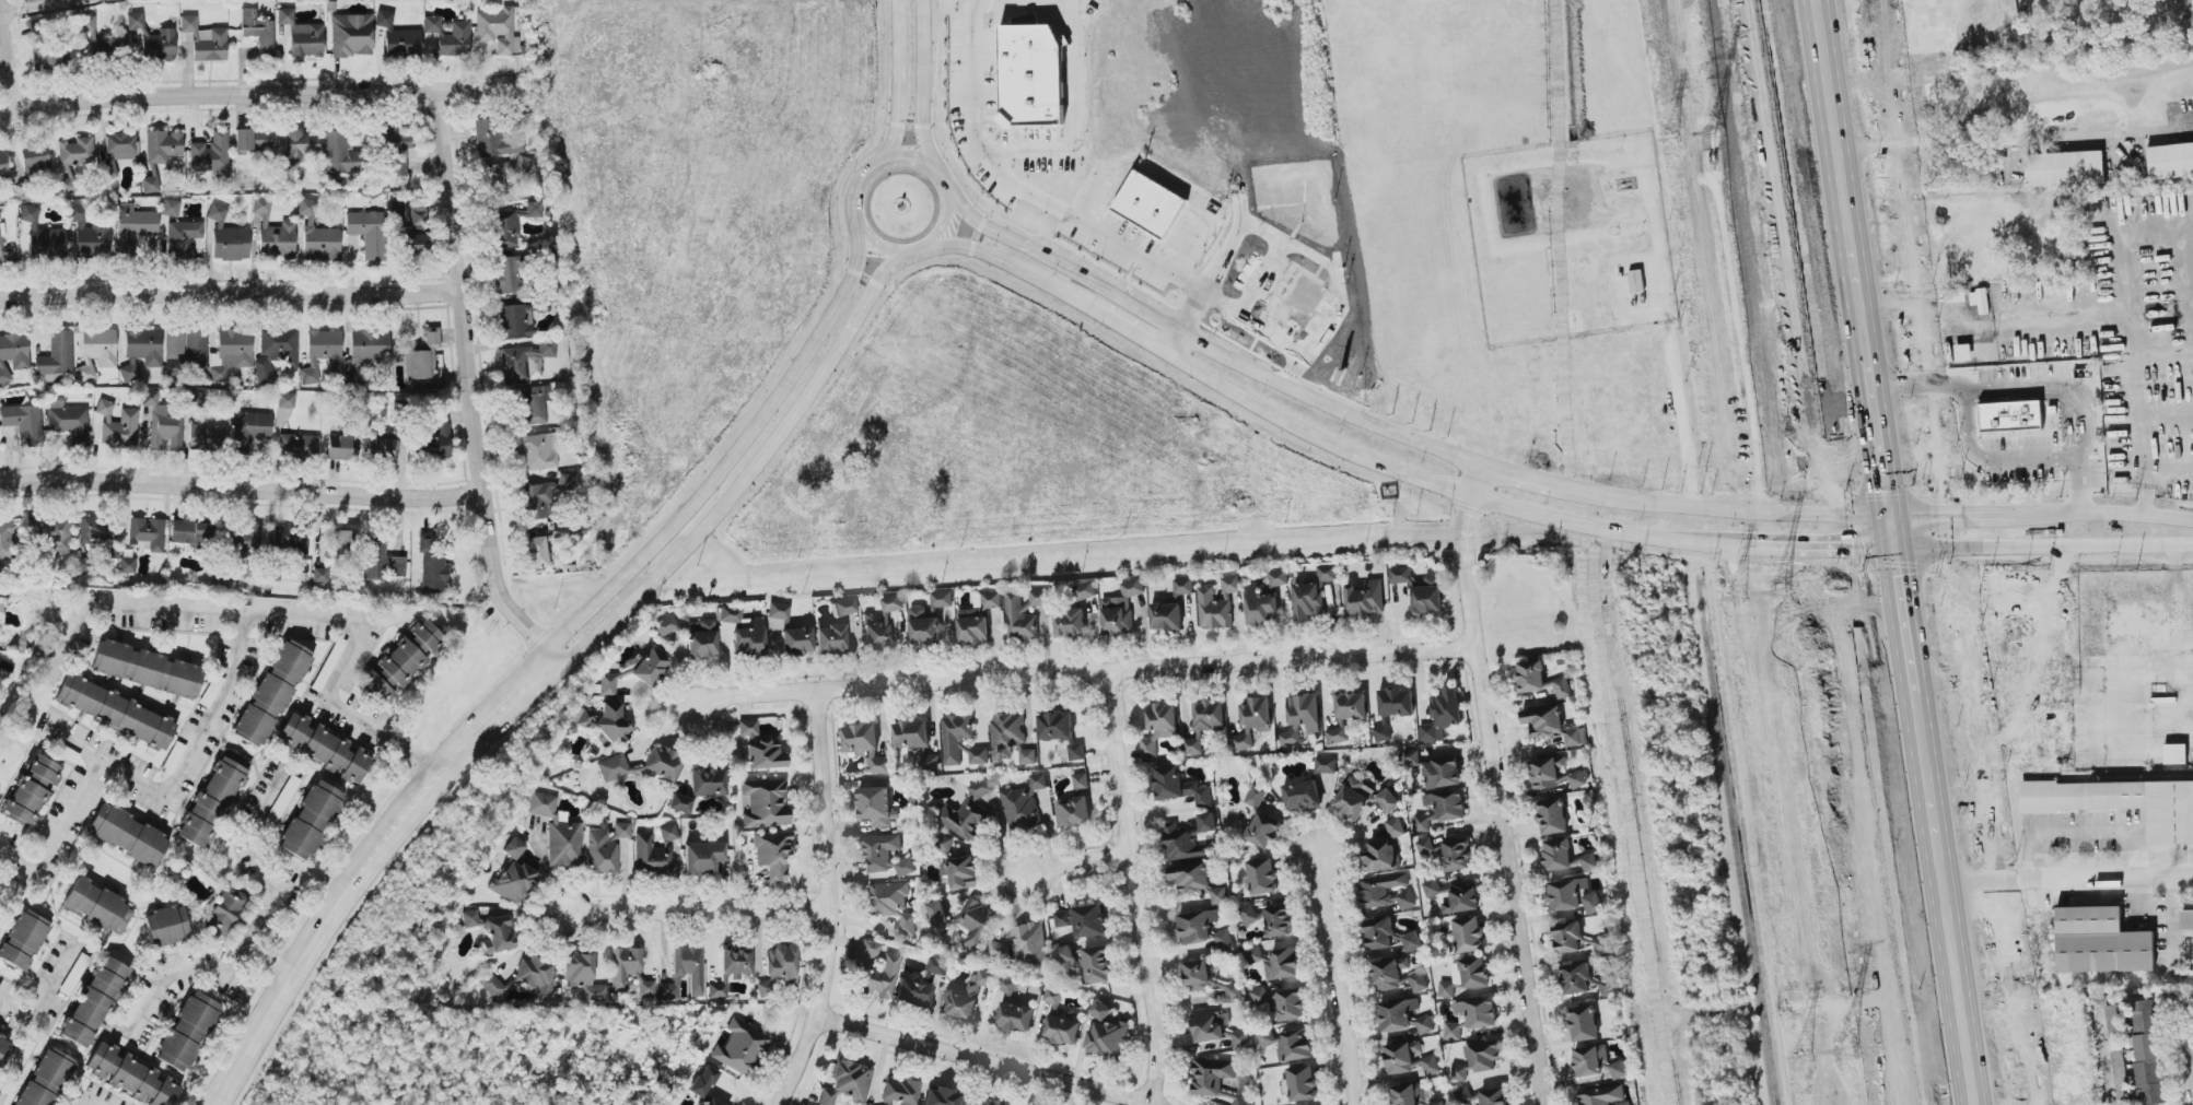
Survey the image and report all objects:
road: (42, 5)
building: (494, 28)
building: (256, 30)
building: (350, 34)
building: (301, 35)
building: (397, 36)
building: (447, 36)
building: (96, 38)
building: (151, 39)
building: (203, 40)
road: (1074, 51)
building: (48, 57)
road: (7, 71)
building: (1026, 73)
road: (922, 85)
road: (896, 87)
road: (255, 89)
power tower: (1713, 134)
building: (252, 139)
building: (489, 139)
road: (2015, 139)
power tower: (1668, 141)
building: (298, 144)
building: (161, 146)
building: (341, 148)
road: (1047, 150)
building: (75, 151)
building: (116, 151)
building: (209, 152)
building: (395, 153)
building: (34, 160)
building: (2170, 161)
building: (2, 164)
building: (2065, 168)
building: (149, 184)
building: (1151, 204)
building: (170, 207)
road: (1054, 208)
building: (512, 221)
building: (132, 227)
building: (368, 232)
building: (272, 233)
building: (42, 235)
building: (317, 235)
building: (226, 236)
building: (89, 237)
building: (183, 238)
road: (1190, 246)
road: (934, 249)
building: (7, 256)
building: (506, 274)
building: (1636, 281)
road: (232, 294)
building: (1980, 301)
road: (1926, 311)
building: (513, 320)
road: (2135, 343)
road: (1203, 345)
building: (369, 346)
road: (1676, 346)
building: (185, 348)
building: (139, 350)
building: (95, 351)
building: (275, 352)
building: (1963, 352)
building: (12, 353)
building: (230, 353)
building: (322, 353)
building: (56, 354)
building: (422, 358)
building: (524, 361)
road: (2041, 385)
road: (478, 387)
building: (284, 400)
building: (532, 404)
building: (2008, 414)
building: (67, 421)
building: (23, 423)
building: (162, 424)
building: (116, 425)
building: (250, 427)
building: (206, 434)
building: (434, 436)
building: (298, 445)
road: (726, 446)
building: (341, 447)
building: (383, 449)
building: (537, 450)
road: (1993, 456)
road: (746, 471)
road: (1419, 477)
road: (1521, 477)
road: (245, 482)
building: (567, 482)
building: (538, 501)
road: (1688, 505)
traffic signals: (1951, 509)
road: (2005, 509)
traffic signals: (1818, 514)
building: (96, 529)
building: (190, 531)
building: (54, 534)
building: (244, 537)
building: (342, 539)
road: (1425, 539)
building: (5, 540)
building: (155, 544)
traffic signals: (1822, 544)
traffic signals: (1956, 544)
road: (2074, 548)
building: (547, 550)
building: (537, 551)
road: (1823, 552)
road: (1957, 552)
building: (378, 561)
building: (431, 566)
building: (1327, 573)
building: (1400, 574)
building: (319, 575)
building: (1279, 577)
building: (1230, 584)
building: (1182, 586)
building: (1084, 590)
power tower: (1777, 593)
building: (1428, 596)
building: (1040, 597)
building: (1364, 597)
power tower: (1736, 598)
building: (940, 601)
building: (1307, 601)
building: (893, 602)
building: (845, 606)
building: (1261, 607)
building: (1121, 609)
building: (1214, 609)
road: (130, 610)
building: (777, 610)
building: (0, 613)
building: (728, 613)
building: (1166, 616)
building: (977, 619)
building: (1070, 623)
building: (993, 624)
building: (665, 625)
building: (924, 626)
building: (878, 634)
building: (774, 635)
building: (830, 637)
building: (700, 638)
building: (795, 640)
building: (747, 642)
building: (401, 660)
building: (145, 668)
building: (635, 670)
road: (1084, 674)
building: (1530, 675)
building: (1561, 686)
building: (271, 693)
building: (1351, 705)
building: (1393, 709)
building: (114, 710)
building: (1305, 712)
building: (1442, 714)
building: (1209, 715)
road: (209, 719)
building: (1252, 721)
road: (500, 722)
building: (606, 722)
building: (1553, 725)
building: (1055, 726)
building: (1158, 727)
building: (1337, 734)
building: (956, 737)
building: (1290, 737)
building: (1007, 738)
road: (385, 739)
building: (1192, 743)
building: (322, 747)
building: (866, 747)
building: (758, 748)
building: (965, 751)
building: (1076, 752)
building: (2175, 753)
building: (979, 755)
building: (1028, 756)
building: (1412, 757)
building: (661, 763)
building: (1326, 764)
building: (611, 766)
building: (1443, 772)
building: (1553, 774)
building: (707, 780)
road: (1497, 784)
building: (1177, 786)
building: (31, 790)
building: (1303, 795)
building: (1256, 797)
building: (212, 798)
building: (1354, 798)
building: (281, 799)
building: (765, 800)
building: (1389, 800)
building: (679, 801)
building: (1025, 804)
building: (2122, 804)
building: (1075, 806)
building: (1443, 808)
building: (973, 812)
building: (1552, 816)
building: (310, 819)
building: (1208, 822)
building: (1263, 830)
building: (557, 832)
road: (2070, 832)
building: (128, 835)
building: (1181, 843)
building: (604, 845)
building: (512, 847)
building: (1384, 848)
road: (2158, 849)
building: (772, 851)
building: (654, 854)
building: (1448, 854)
building: (885, 855)
building: (1565, 856)
building: (701, 857)
road: (260, 858)
road: (1072, 861)
building: (960, 872)
building: (517, 877)
building: (1191, 877)
building: (1261, 877)
road: (2097, 878)
road: (1131, 889)
building: (1386, 892)
building: (1220, 895)
building: (1455, 895)
building: (1574, 895)
building: (891, 903)
road: (828, 904)
building: (97, 905)
building: (224, 912)
building: (937, 912)
road: (698, 913)
building: (469, 918)
building: (1063, 918)
building: (1270, 918)
building: (1089, 920)
building: (2188, 921)
building: (978, 924)
building: (165, 925)
building: (1198, 926)
building: (1379, 932)
building: (498, 933)
building: (1468, 933)
road: (319, 934)
building: (1568, 937)
building: (23, 939)
building: (1224, 940)
building: (1412, 941)
building: (2100, 943)
building: (1020, 947)
building: (734, 959)
road: (267, 961)
building: (1089, 961)
building: (1283, 964)
building: (625, 966)
building: (781, 966)
building: (1471, 972)
road: (178, 973)
building: (684, 973)
building: (536, 974)
building: (1397, 975)
building: (877, 977)
building: (580, 978)
building: (1577, 978)
building: (1208, 979)
road: (1340, 980)
building: (490, 984)
building: (645, 987)
building: (715, 989)
building: (1446, 989)
building: (913, 992)
building: (966, 996)
building: (1053, 996)
building: (1260, 996)
road: (42, 997)
building: (93, 1002)
building: (1291, 1004)
building: (1016, 1006)
building: (1478, 1012)
building: (1397, 1014)
building: (1583, 1023)
building: (1425, 1024)
building: (1211, 1025)
building: (1063, 1027)
building: (1454, 1030)
building: (187, 1031)
building: (1107, 1032)
building: (1240, 1038)
building: (1293, 1046)
road: (2190, 1047)
building: (740, 1048)
building: (5, 1050)
power tower: (1845, 1053)
road: (2103, 1057)
building: (1409, 1058)
building: (1478, 1058)
power tower: (1800, 1058)
road: (973, 1061)
building: (1597, 1062)
building: (51, 1069)
building: (130, 1074)
building: (702, 1080)
building: (1218, 1080)
building: (1303, 1083)
building: (845, 1084)
building: (899, 1090)
building: (33, 1095)
building: (1414, 1095)
building: (1605, 1095)
building: (1493, 1096)
building: (942, 1097)
building: (709, 1101)
building: (988, 1101)
building: (11, 1104)

